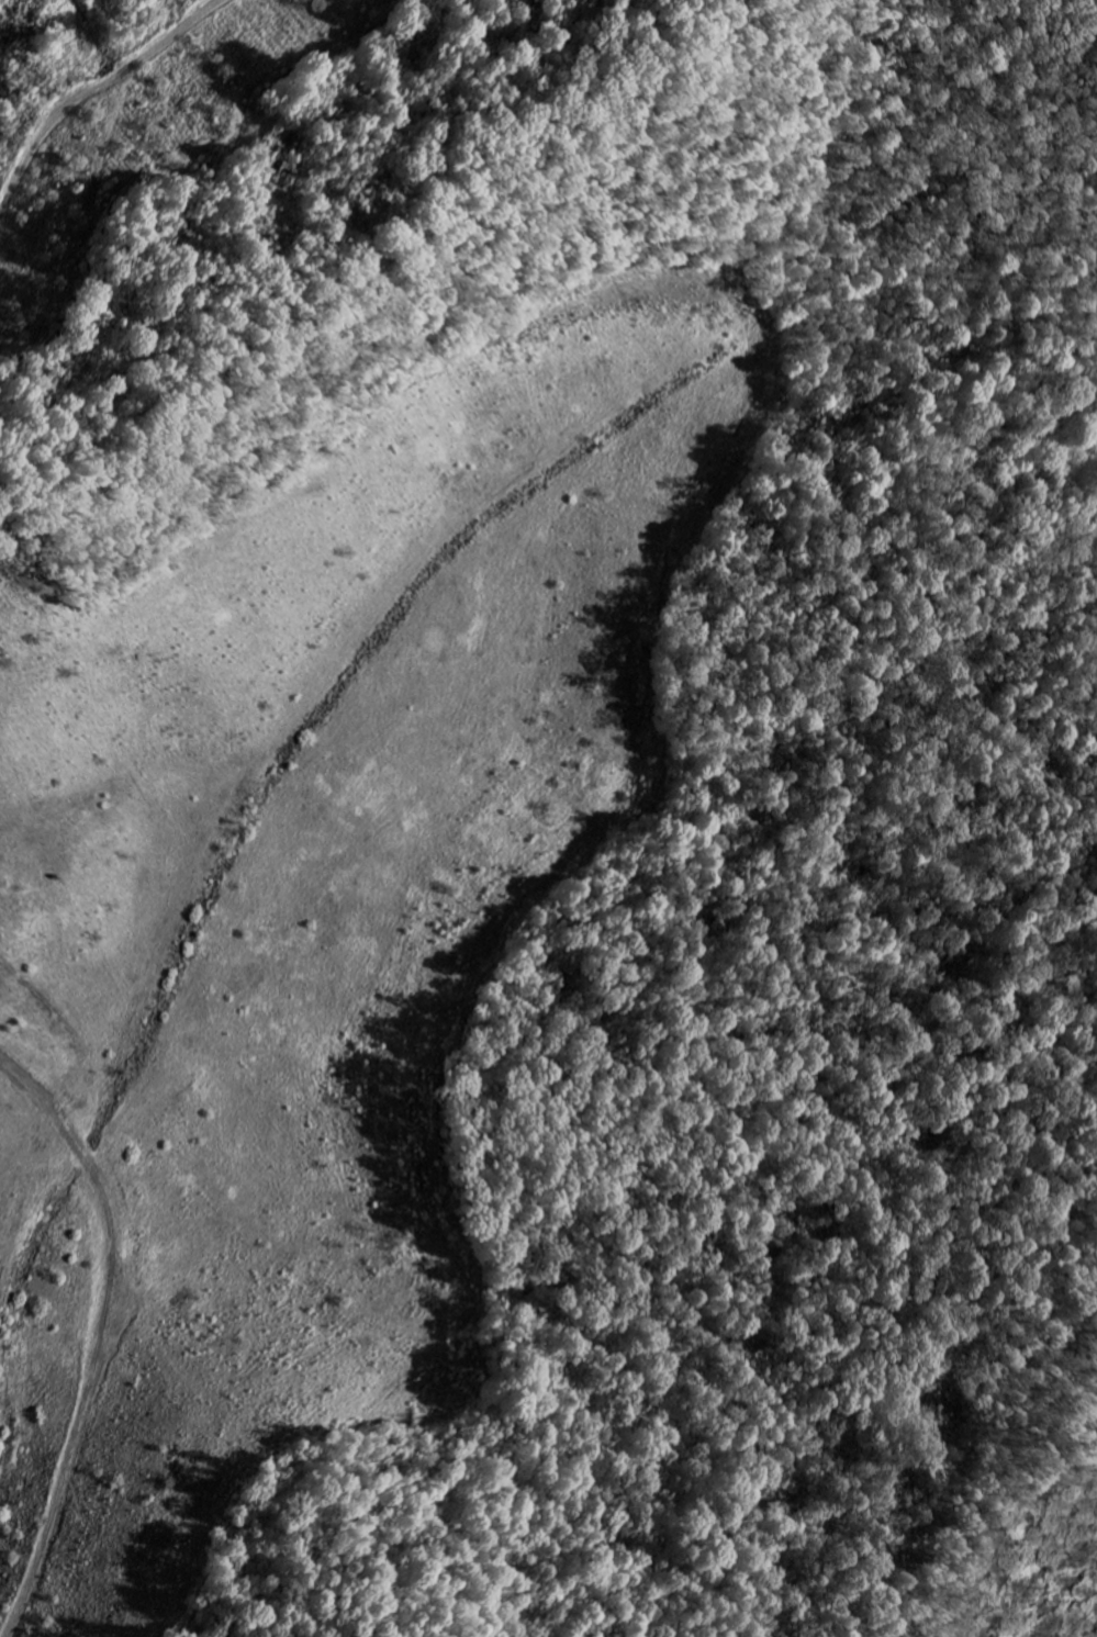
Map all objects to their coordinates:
road: (104, 119)

